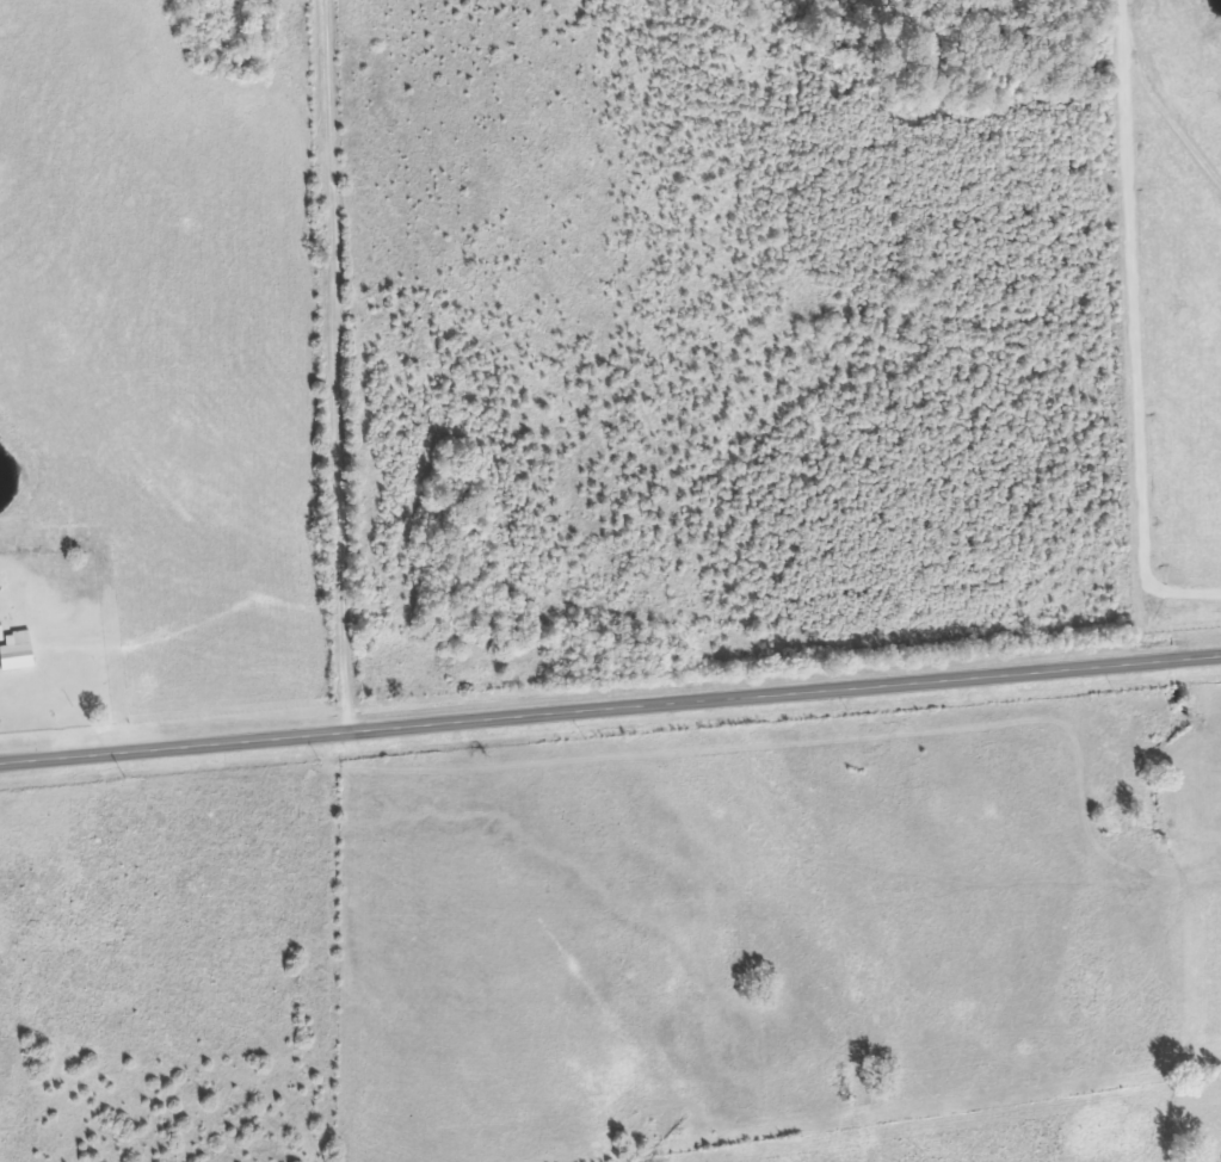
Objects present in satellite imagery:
road: (335, 364)
building: (14, 649)
road: (610, 706)

